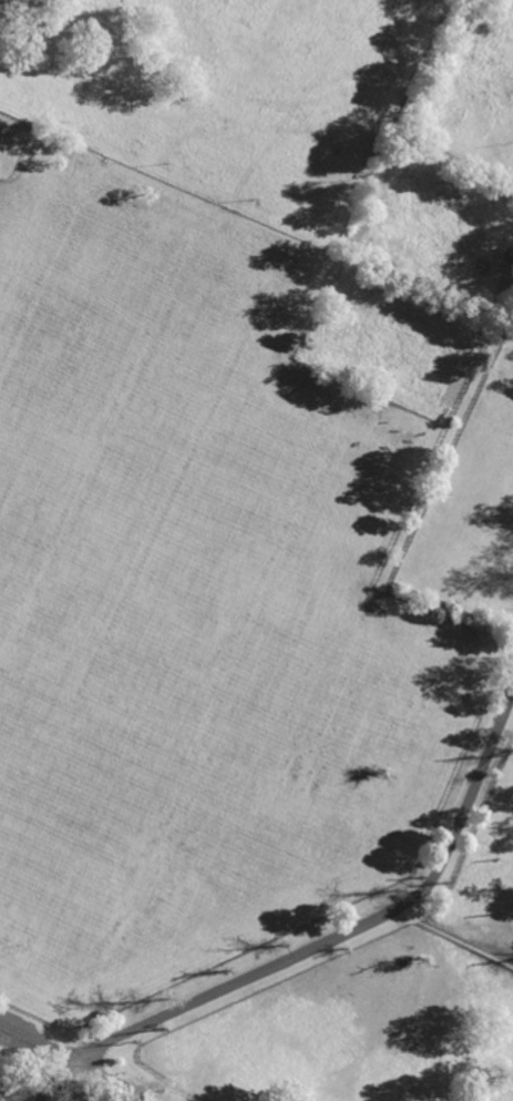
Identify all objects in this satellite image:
road: (345, 931)
road: (37, 1039)
road: (58, 1078)
road: (111, 1079)
park: (35, 1083)
building: (0, 1088)

